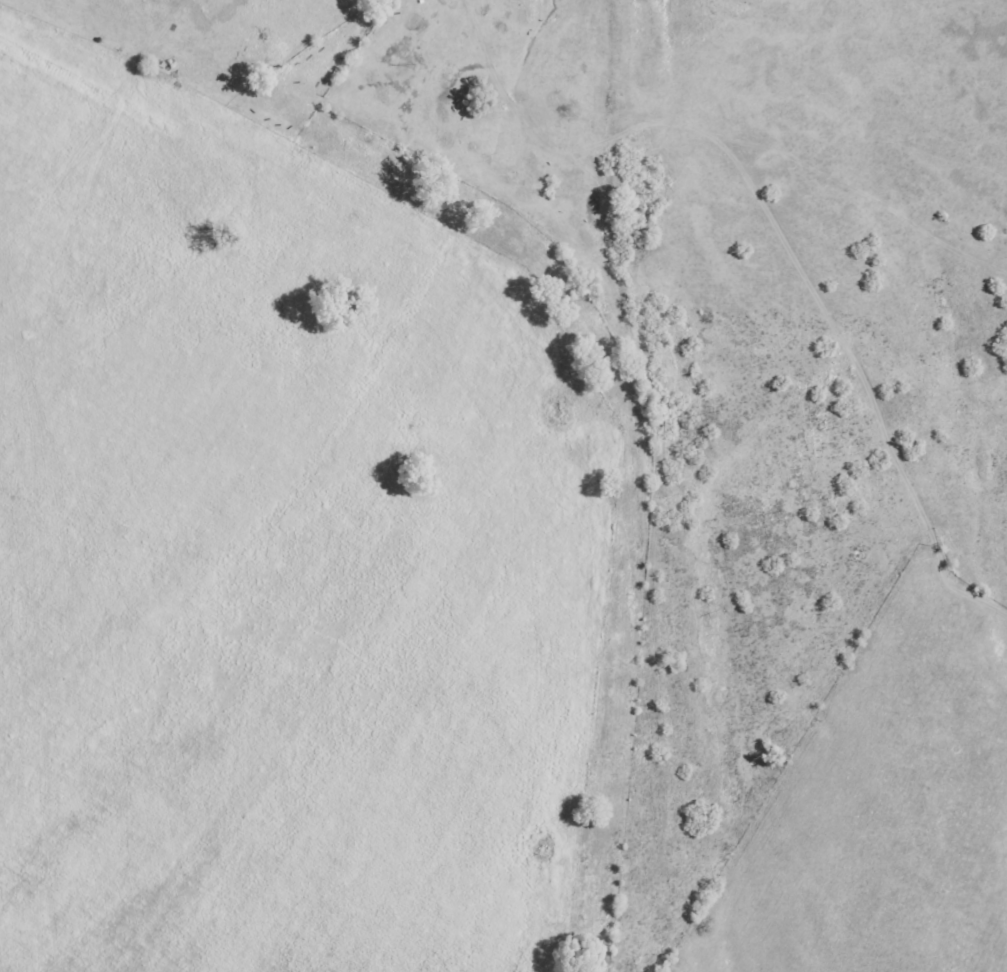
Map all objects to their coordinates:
road: (706, 124)
road: (861, 374)

